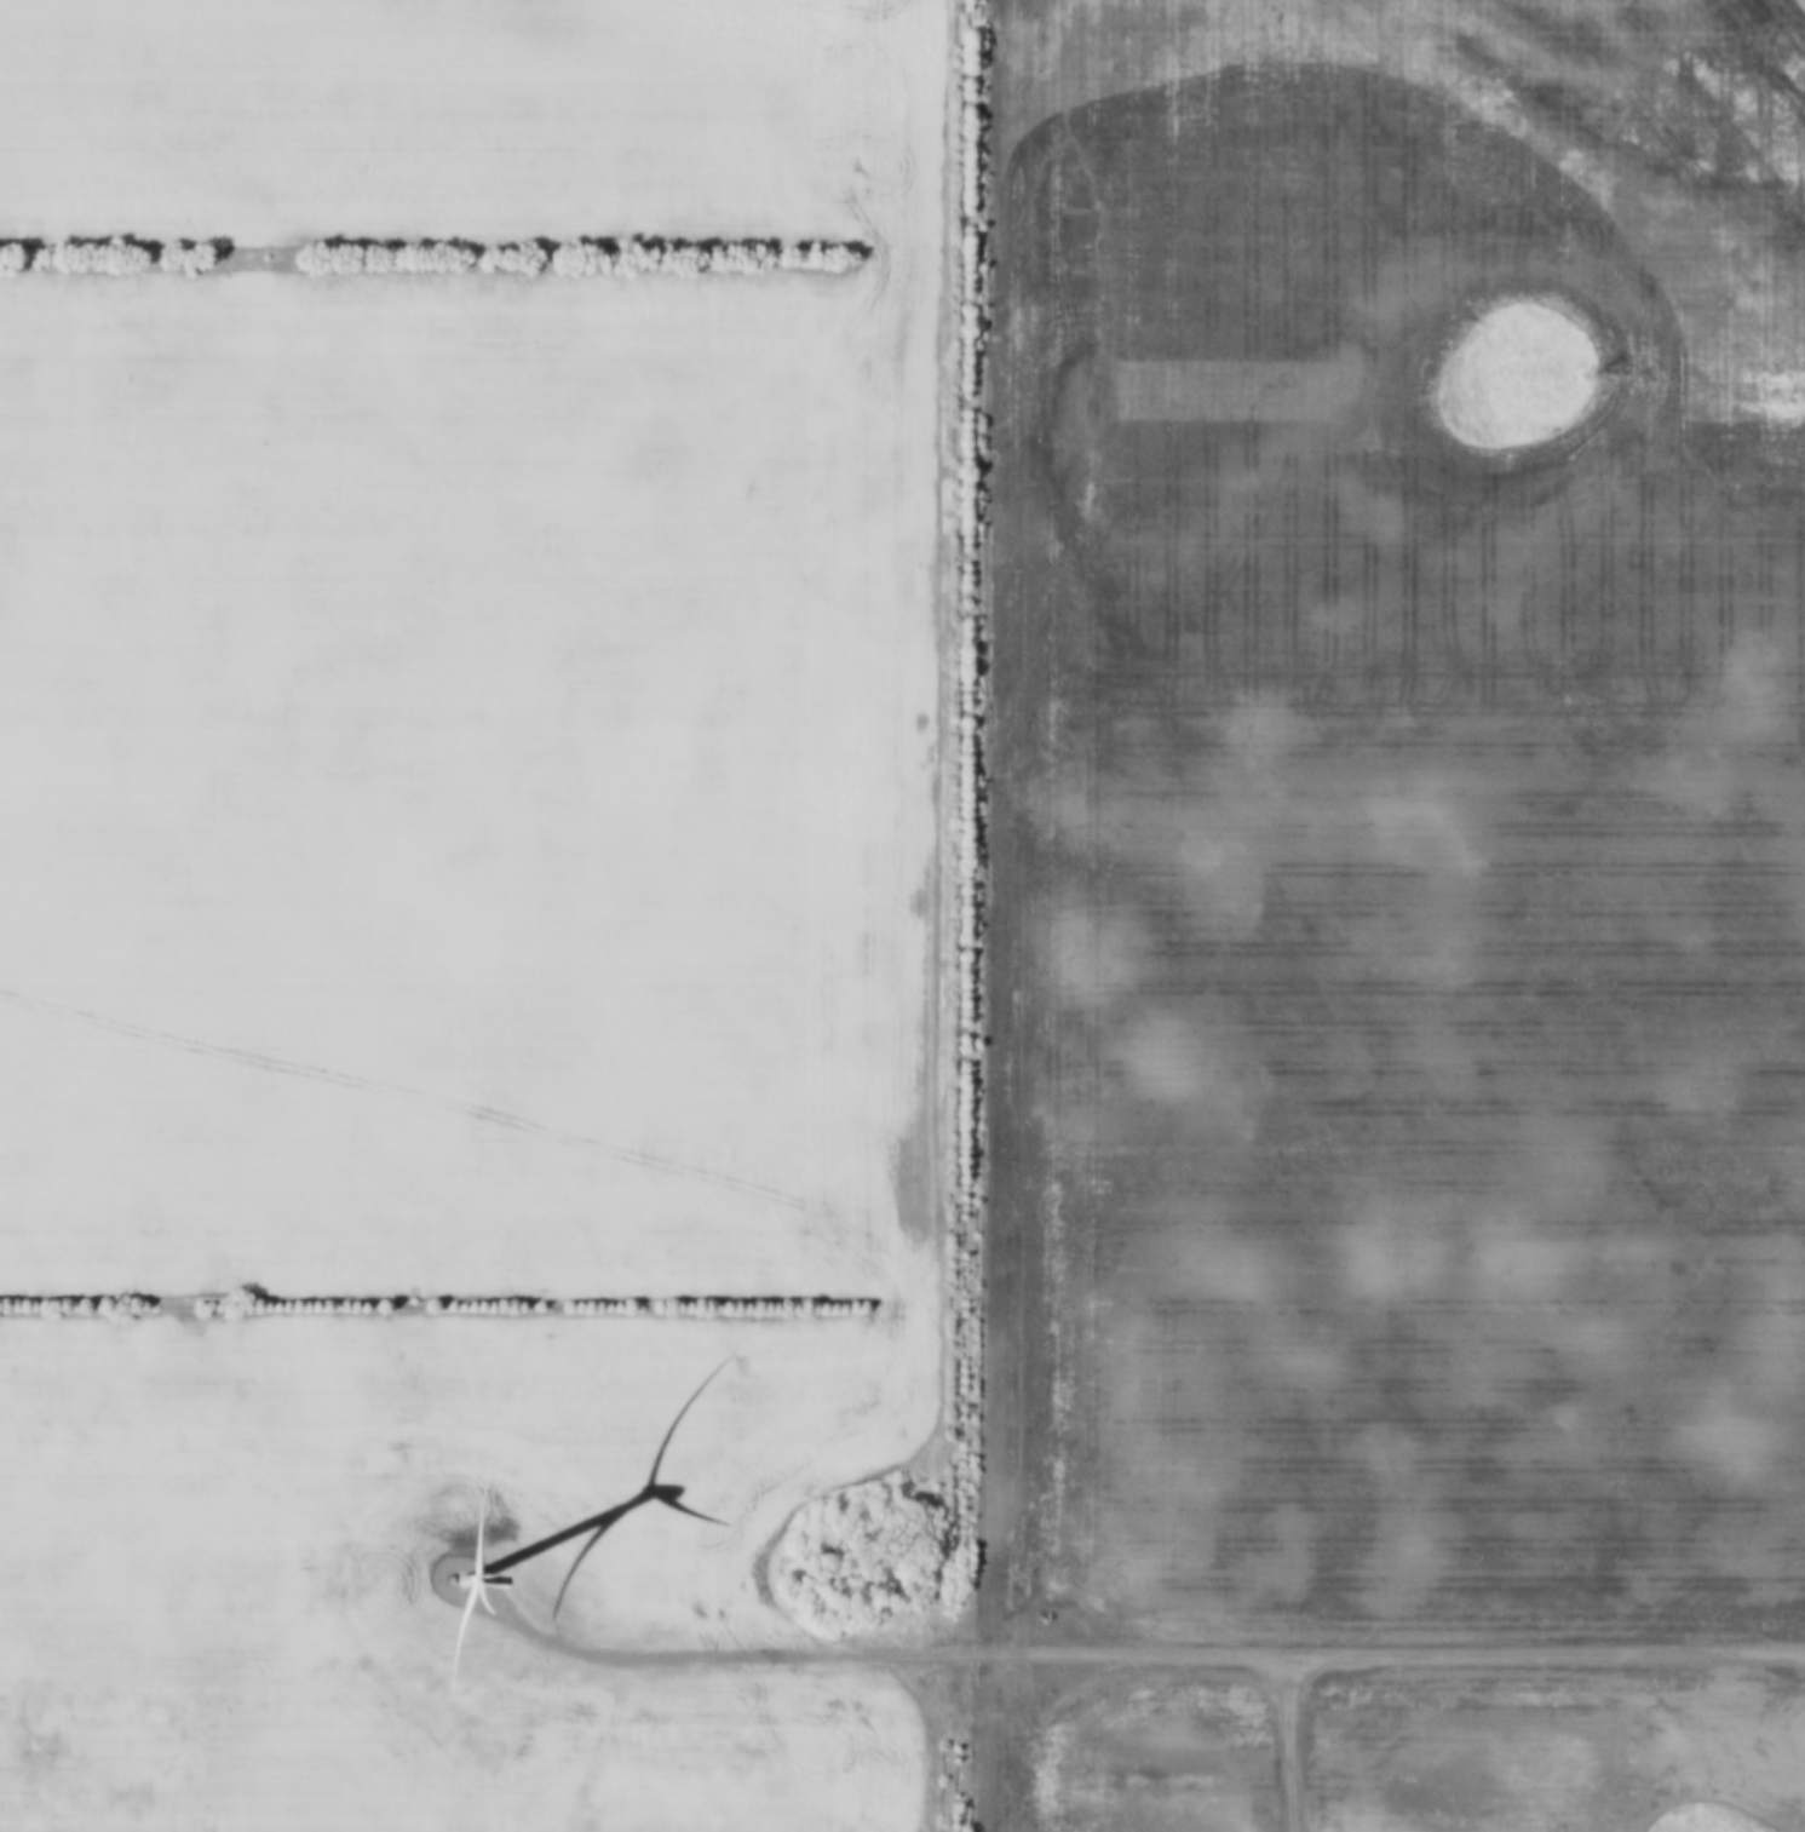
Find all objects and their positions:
building: (1632, 126)
building: (1432, 375)
building: (1696, 873)
wind turbine: (466, 1586)
road: (1132, 1656)
road: (1288, 1744)

